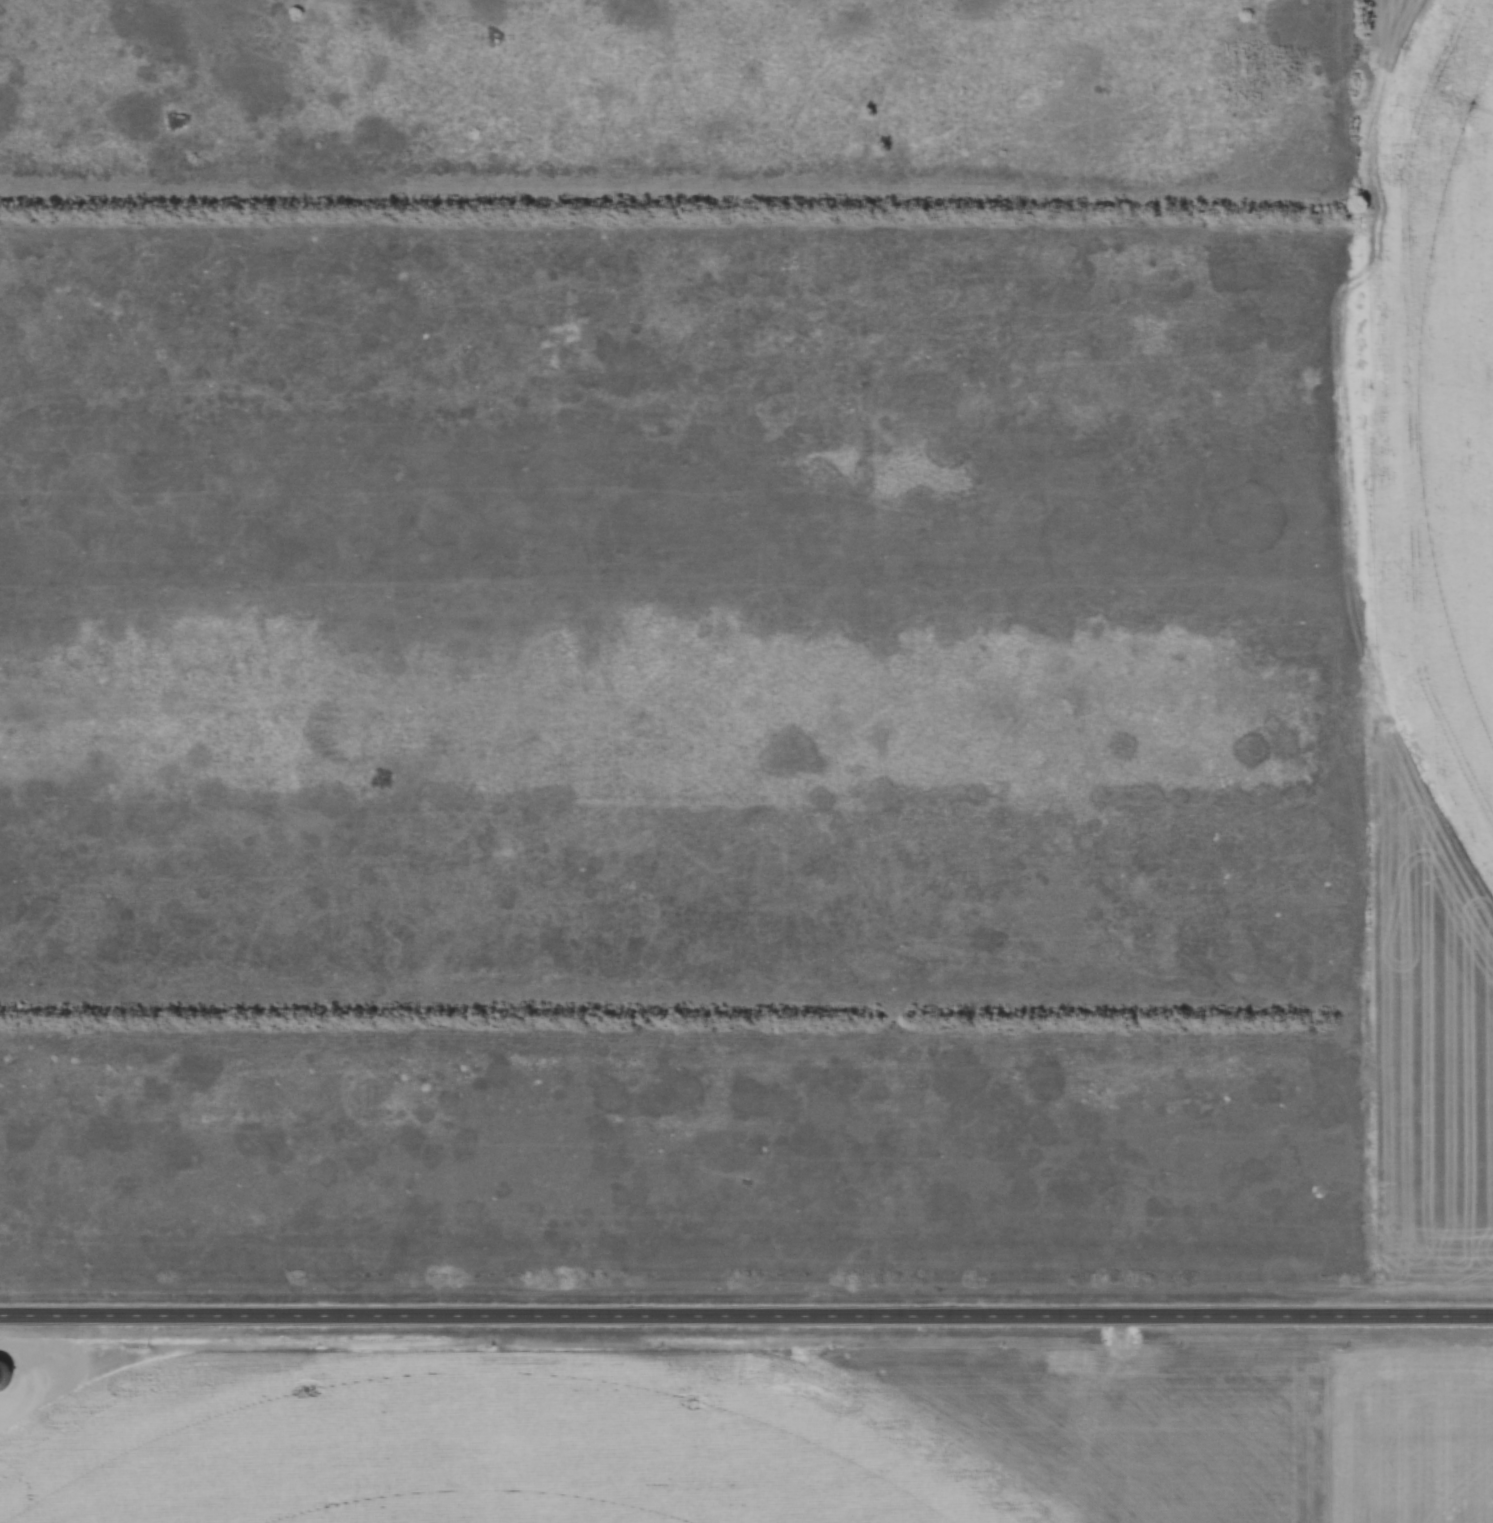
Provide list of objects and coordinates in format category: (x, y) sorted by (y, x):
road: (746, 1314)

